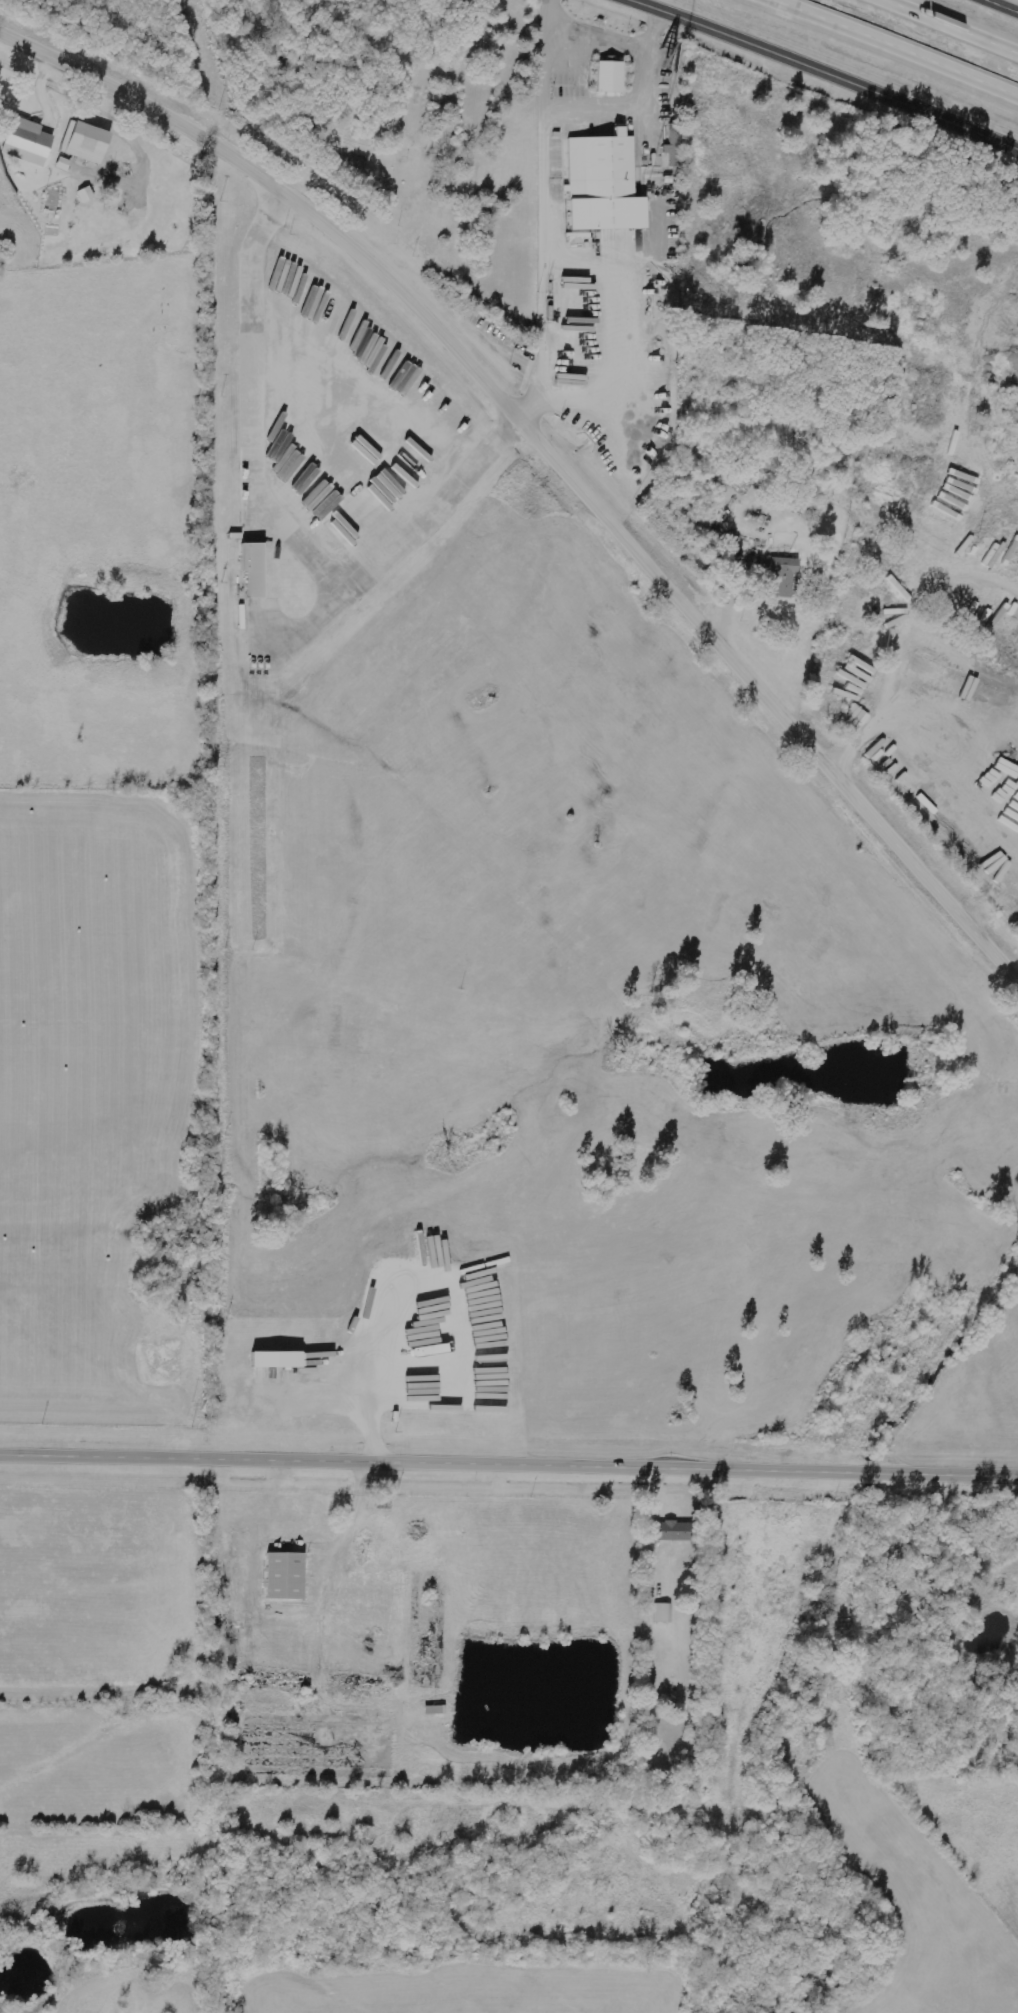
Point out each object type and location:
road: (1002, 6)
road: (552, 21)
road: (956, 23)
road: (901, 45)
road: (828, 70)
building: (612, 77)
road: (632, 108)
building: (29, 142)
building: (87, 142)
building: (676, 146)
building: (347, 157)
building: (606, 184)
building: (87, 195)
road: (550, 459)
building: (256, 569)
building: (785, 577)
building: (279, 1360)
road: (509, 1467)
building: (676, 1531)
building: (287, 1576)
building: (664, 1613)

